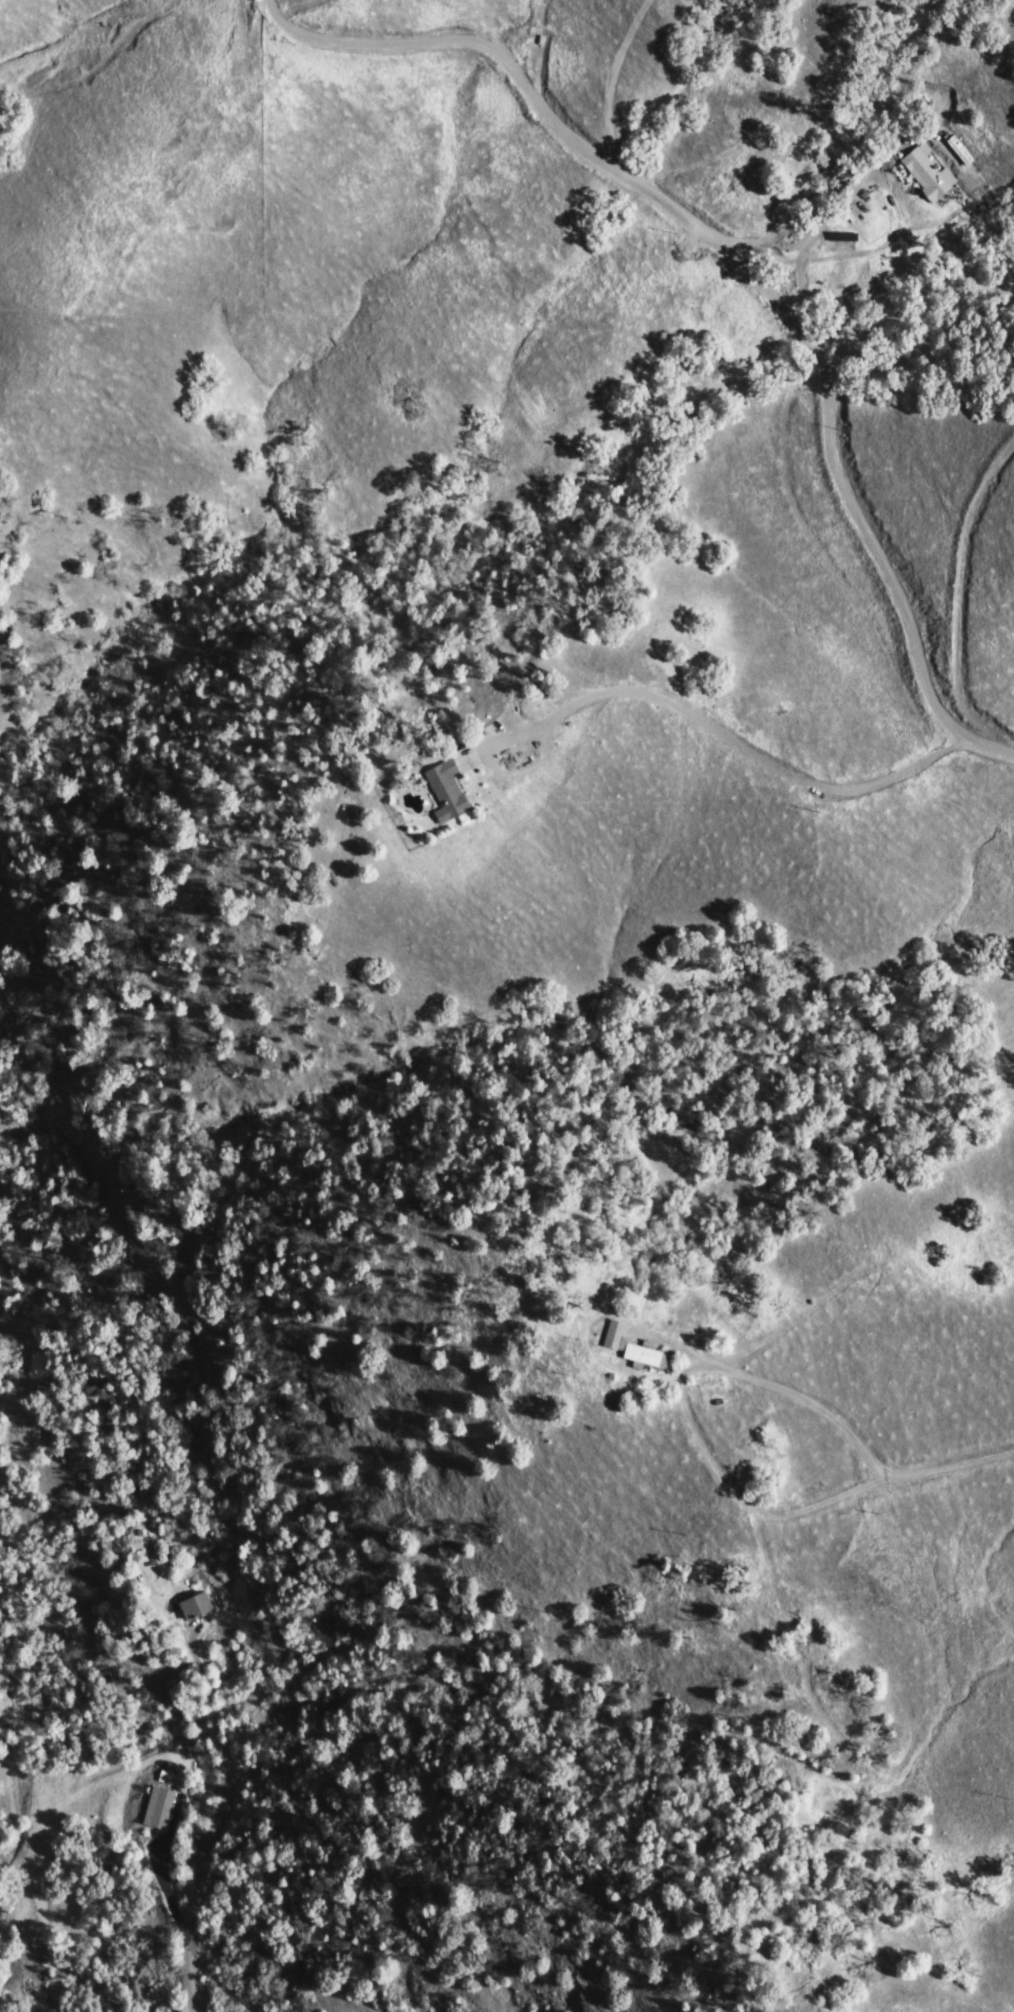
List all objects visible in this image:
building: (928, 174)
road: (756, 262)
road: (735, 737)
building: (456, 790)
building: (637, 1348)
road: (682, 1399)
road: (947, 1469)
building: (200, 1607)
building: (168, 1777)
building: (161, 1808)
road: (200, 1889)

